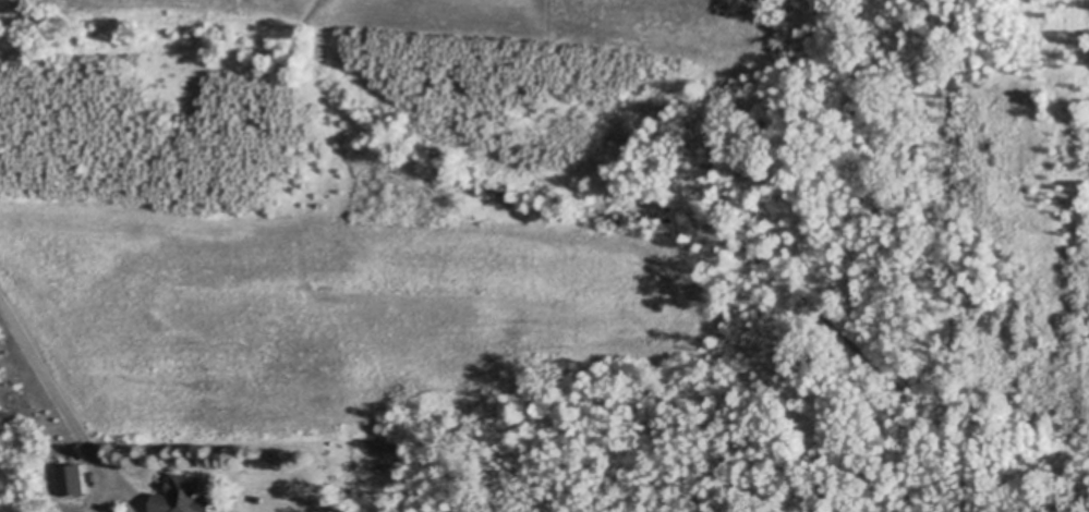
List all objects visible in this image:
road: (52, 387)
building: (66, 480)
road: (128, 489)
road: (100, 495)
building: (179, 495)

